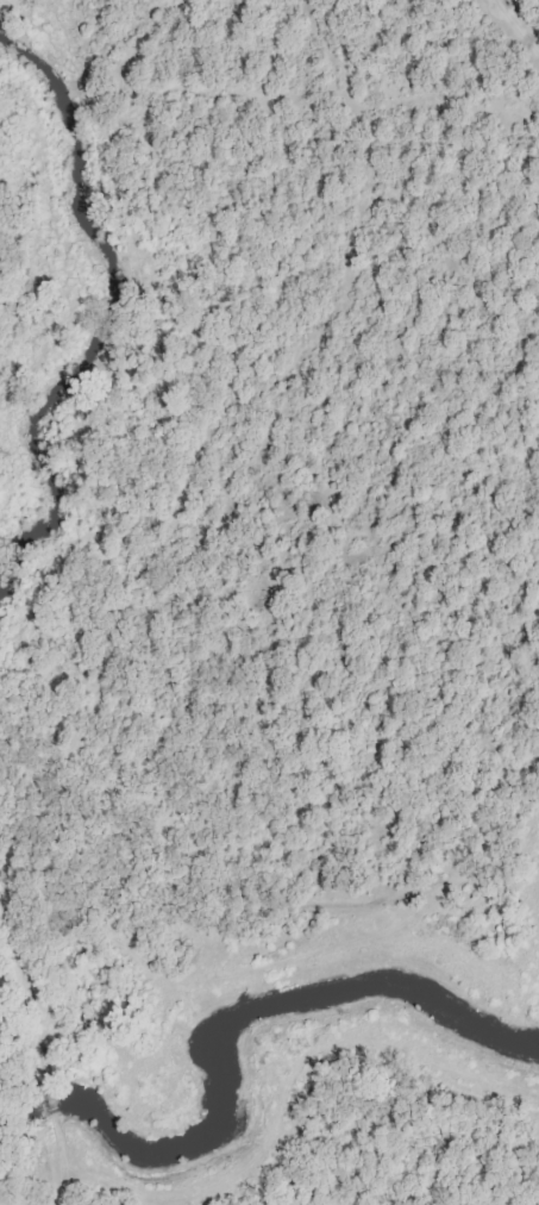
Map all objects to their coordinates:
river: (207, 1034)
road: (32, 1050)

